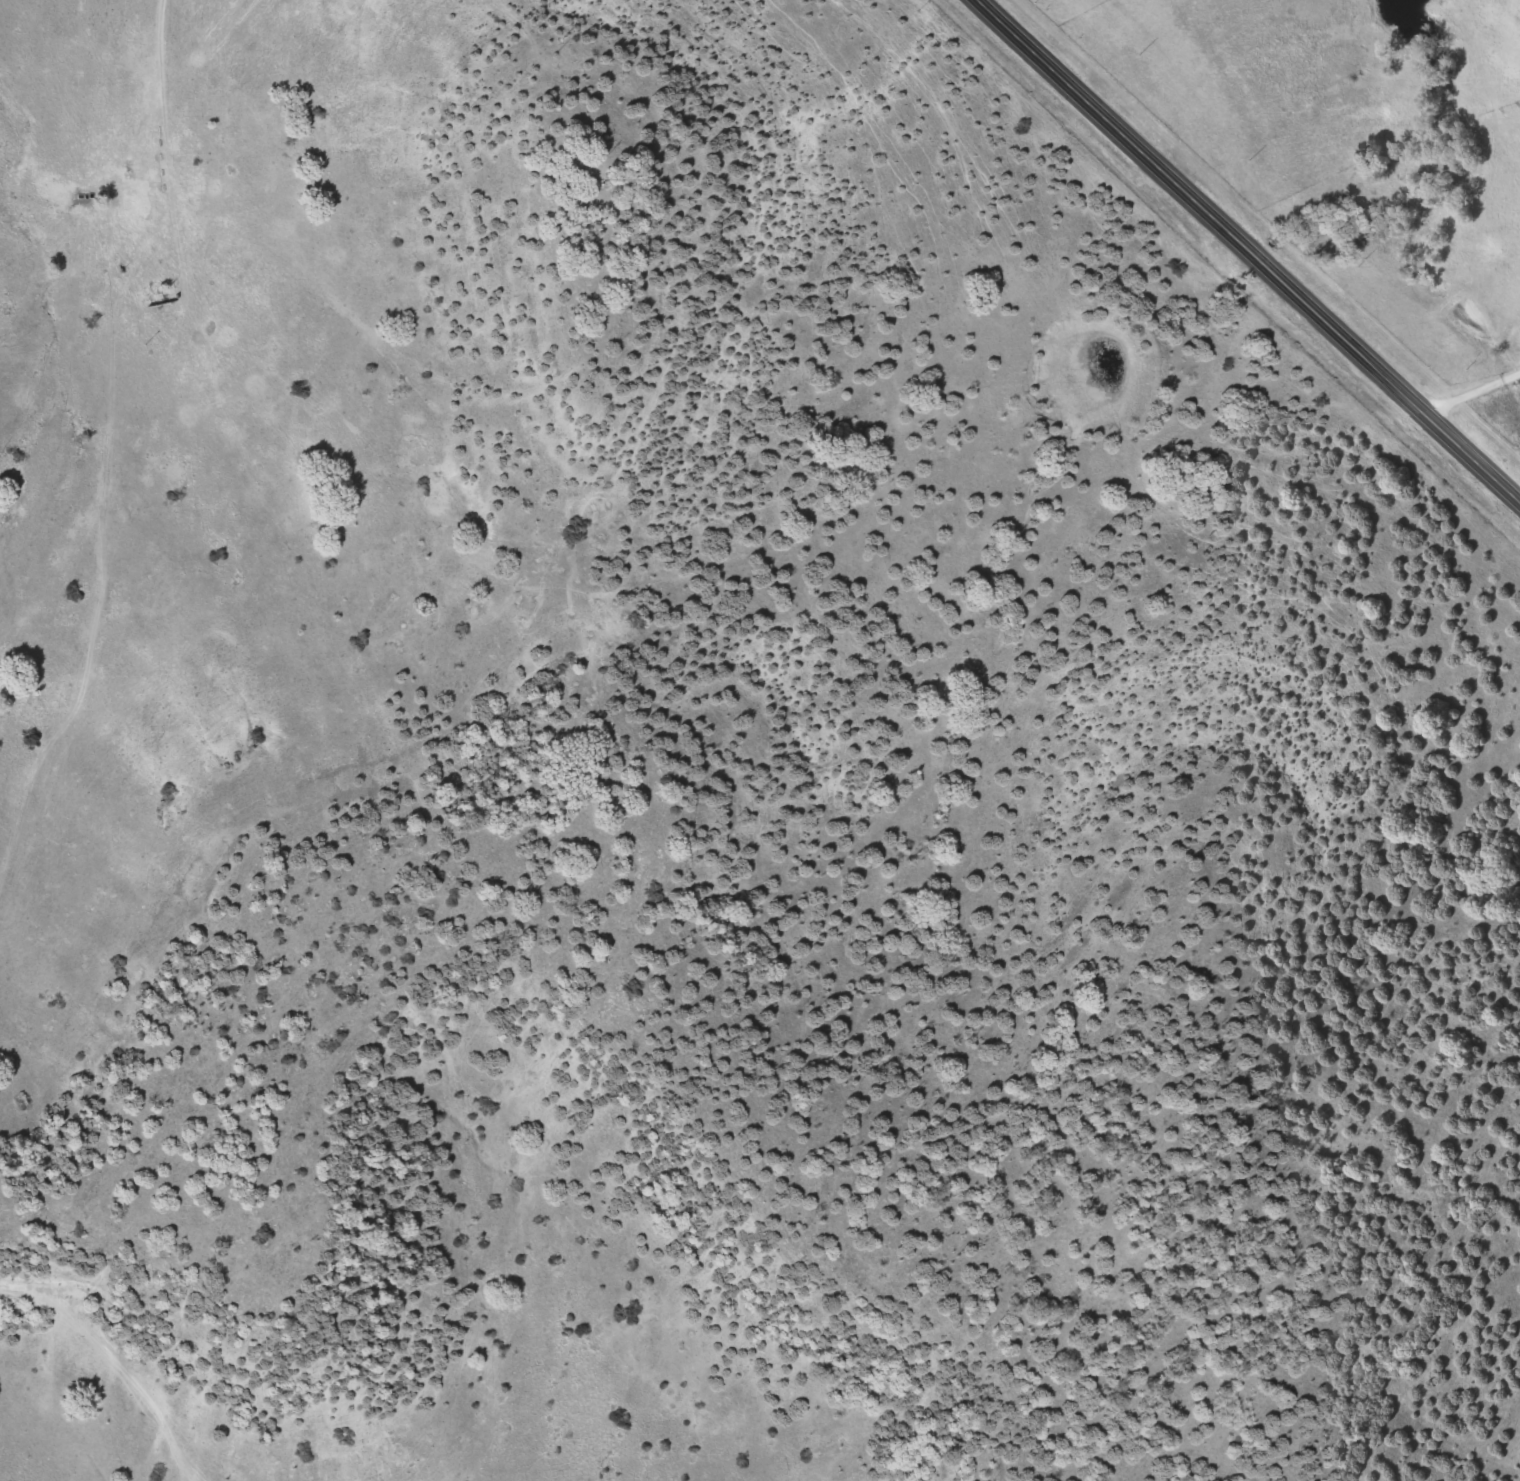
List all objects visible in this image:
road: (1251, 247)
road: (350, 285)

